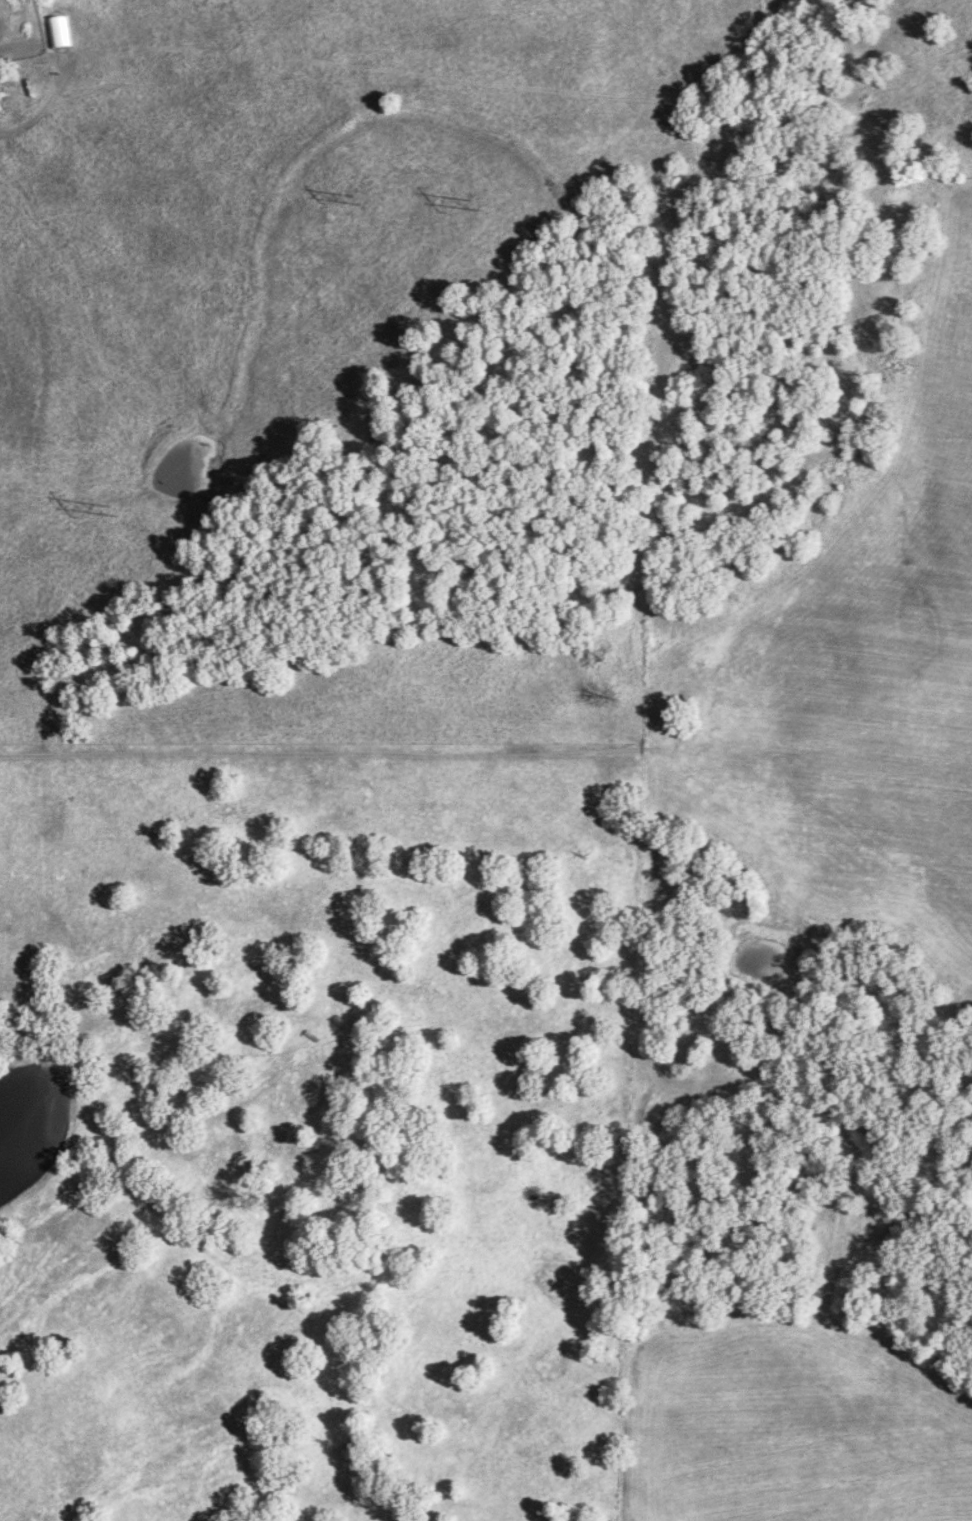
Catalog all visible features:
building: (60, 31)
road: (12, 97)
power tower: (486, 204)
power tower: (122, 509)

